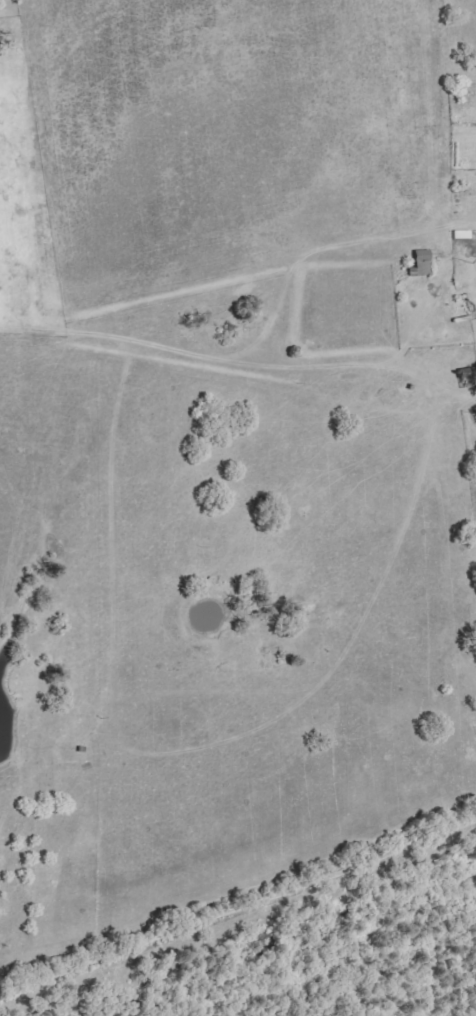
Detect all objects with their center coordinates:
building: (464, 234)
building: (425, 262)
road: (271, 946)

